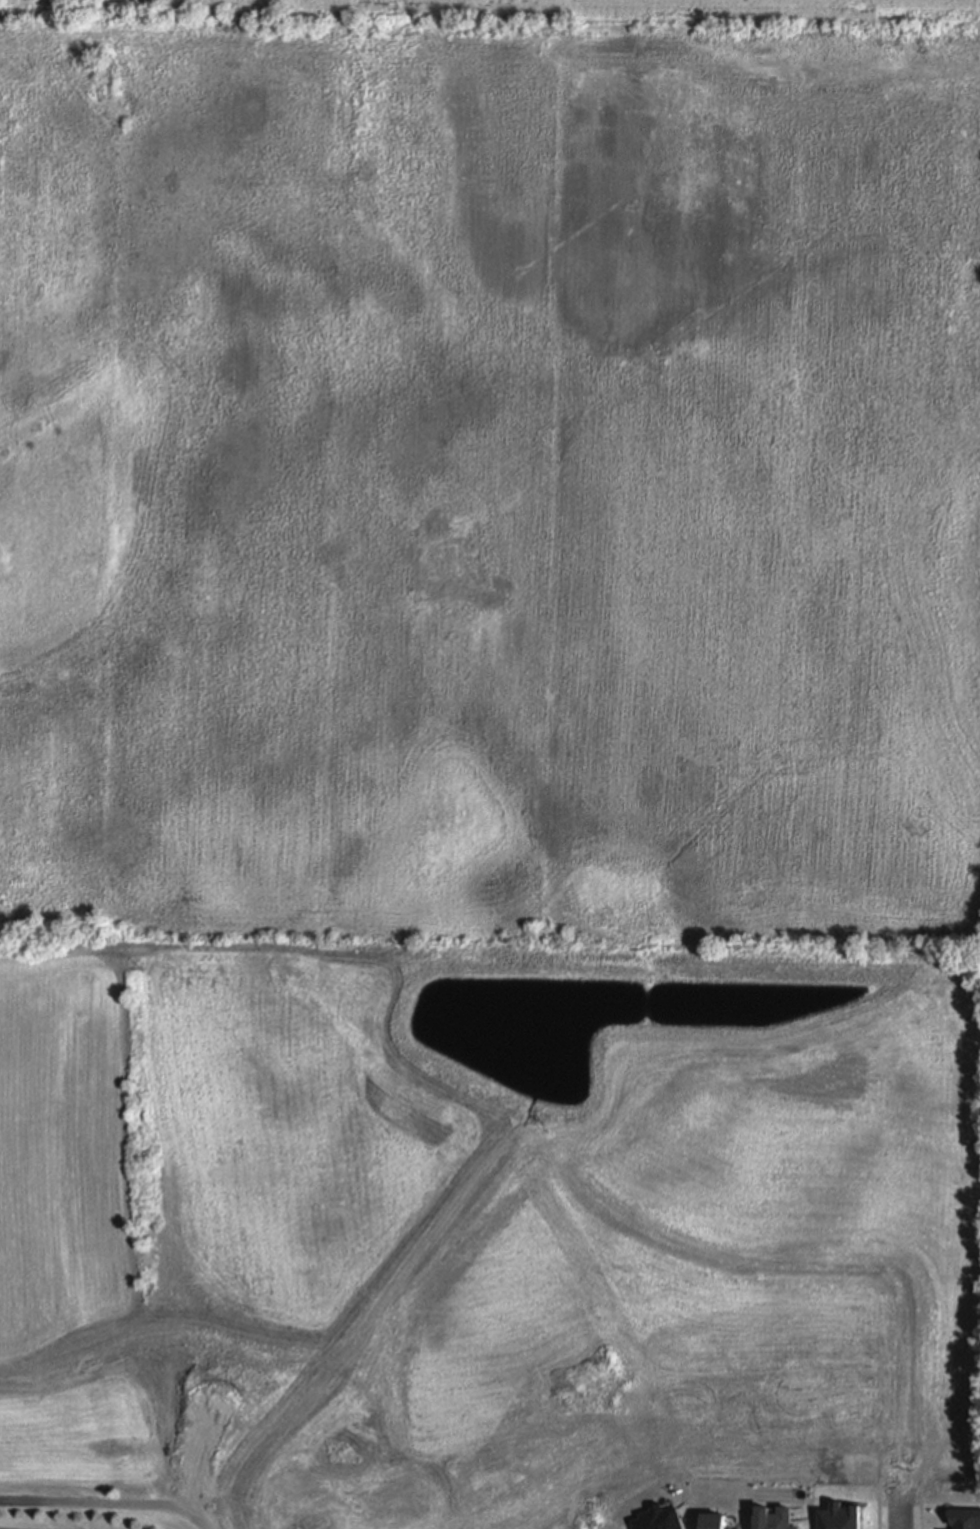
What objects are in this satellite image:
road: (772, 17)
road: (564, 24)
road: (772, 34)
crop: (492, 472)
road: (583, 1359)
road: (901, 1430)
road: (105, 1504)
road: (920, 1507)
road: (878, 1512)
building: (839, 1516)
building: (658, 1518)
building: (775, 1518)
building: (965, 1519)
building: (716, 1521)
building: (413, 1523)

